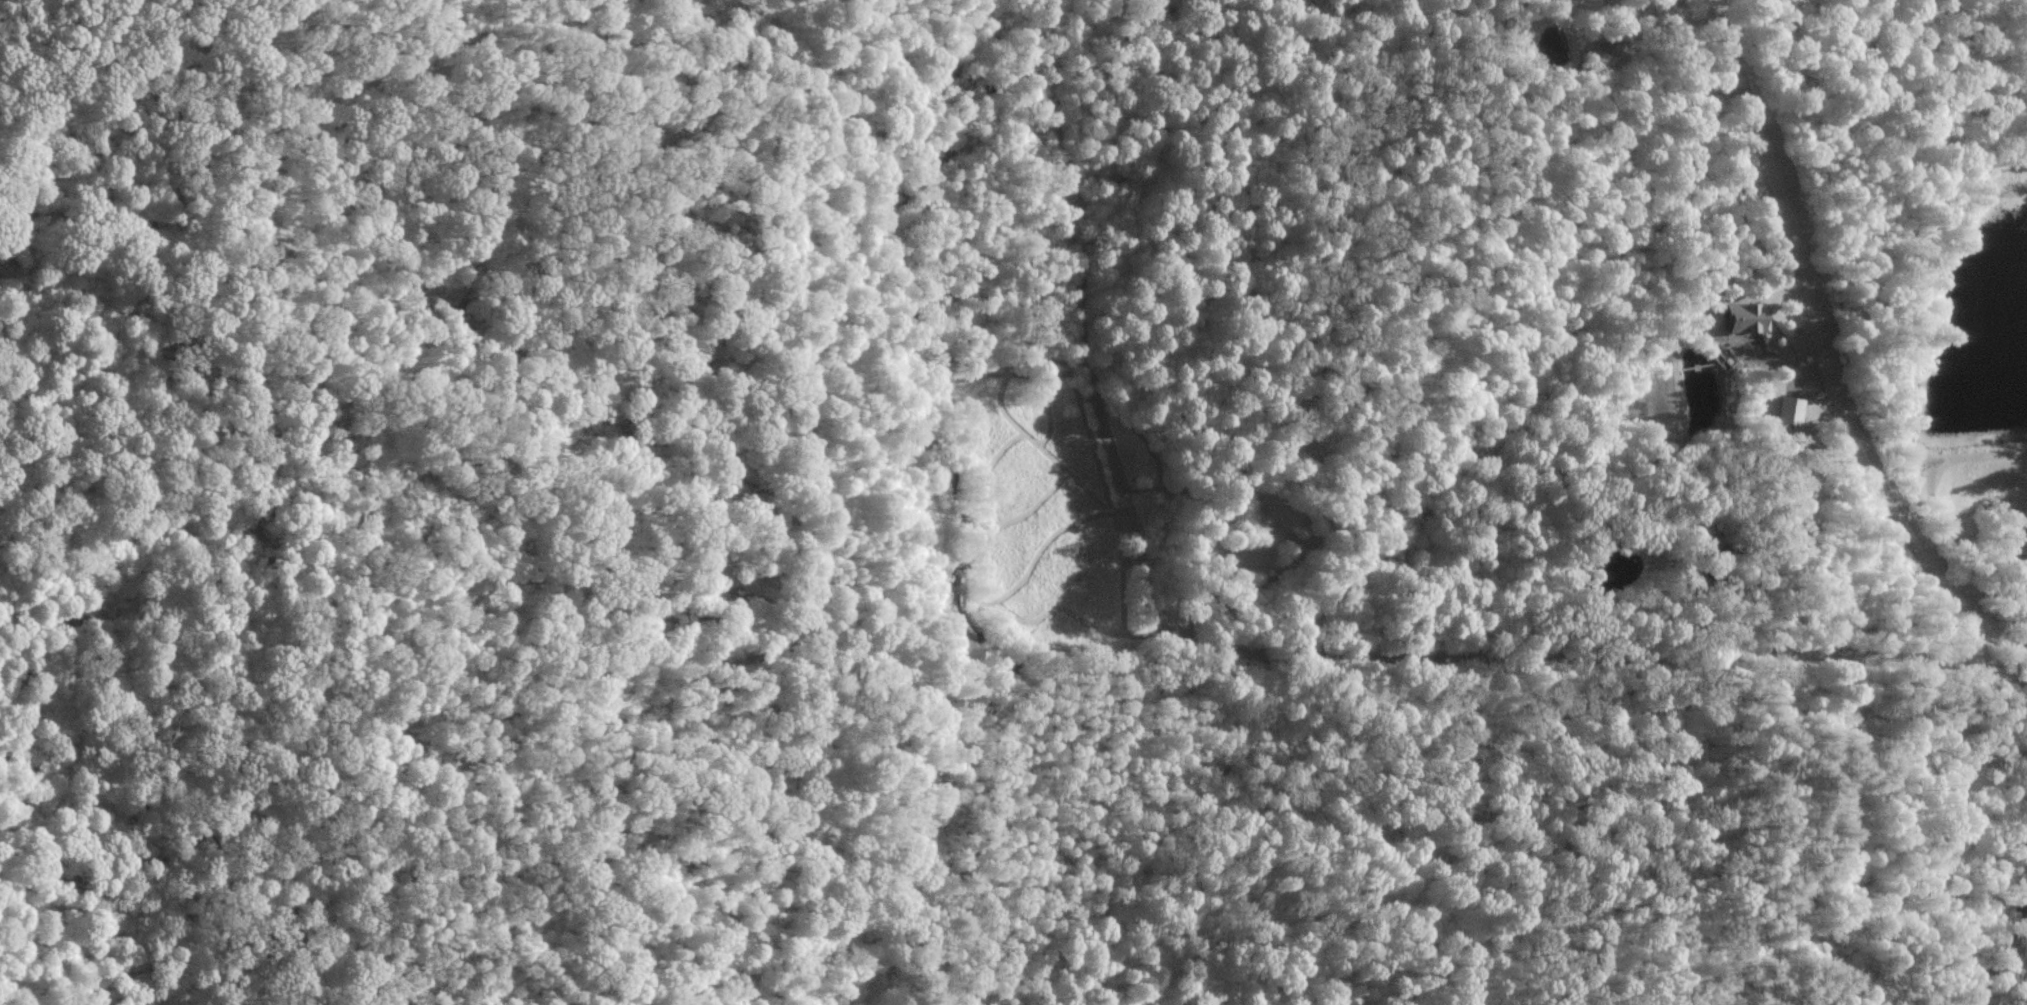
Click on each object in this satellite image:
building: (1607, 46)
building: (1742, 318)
road: (1822, 350)
building: (1786, 411)
road: (1270, 664)
road: (804, 832)
road: (1885, 936)
road: (2005, 939)

